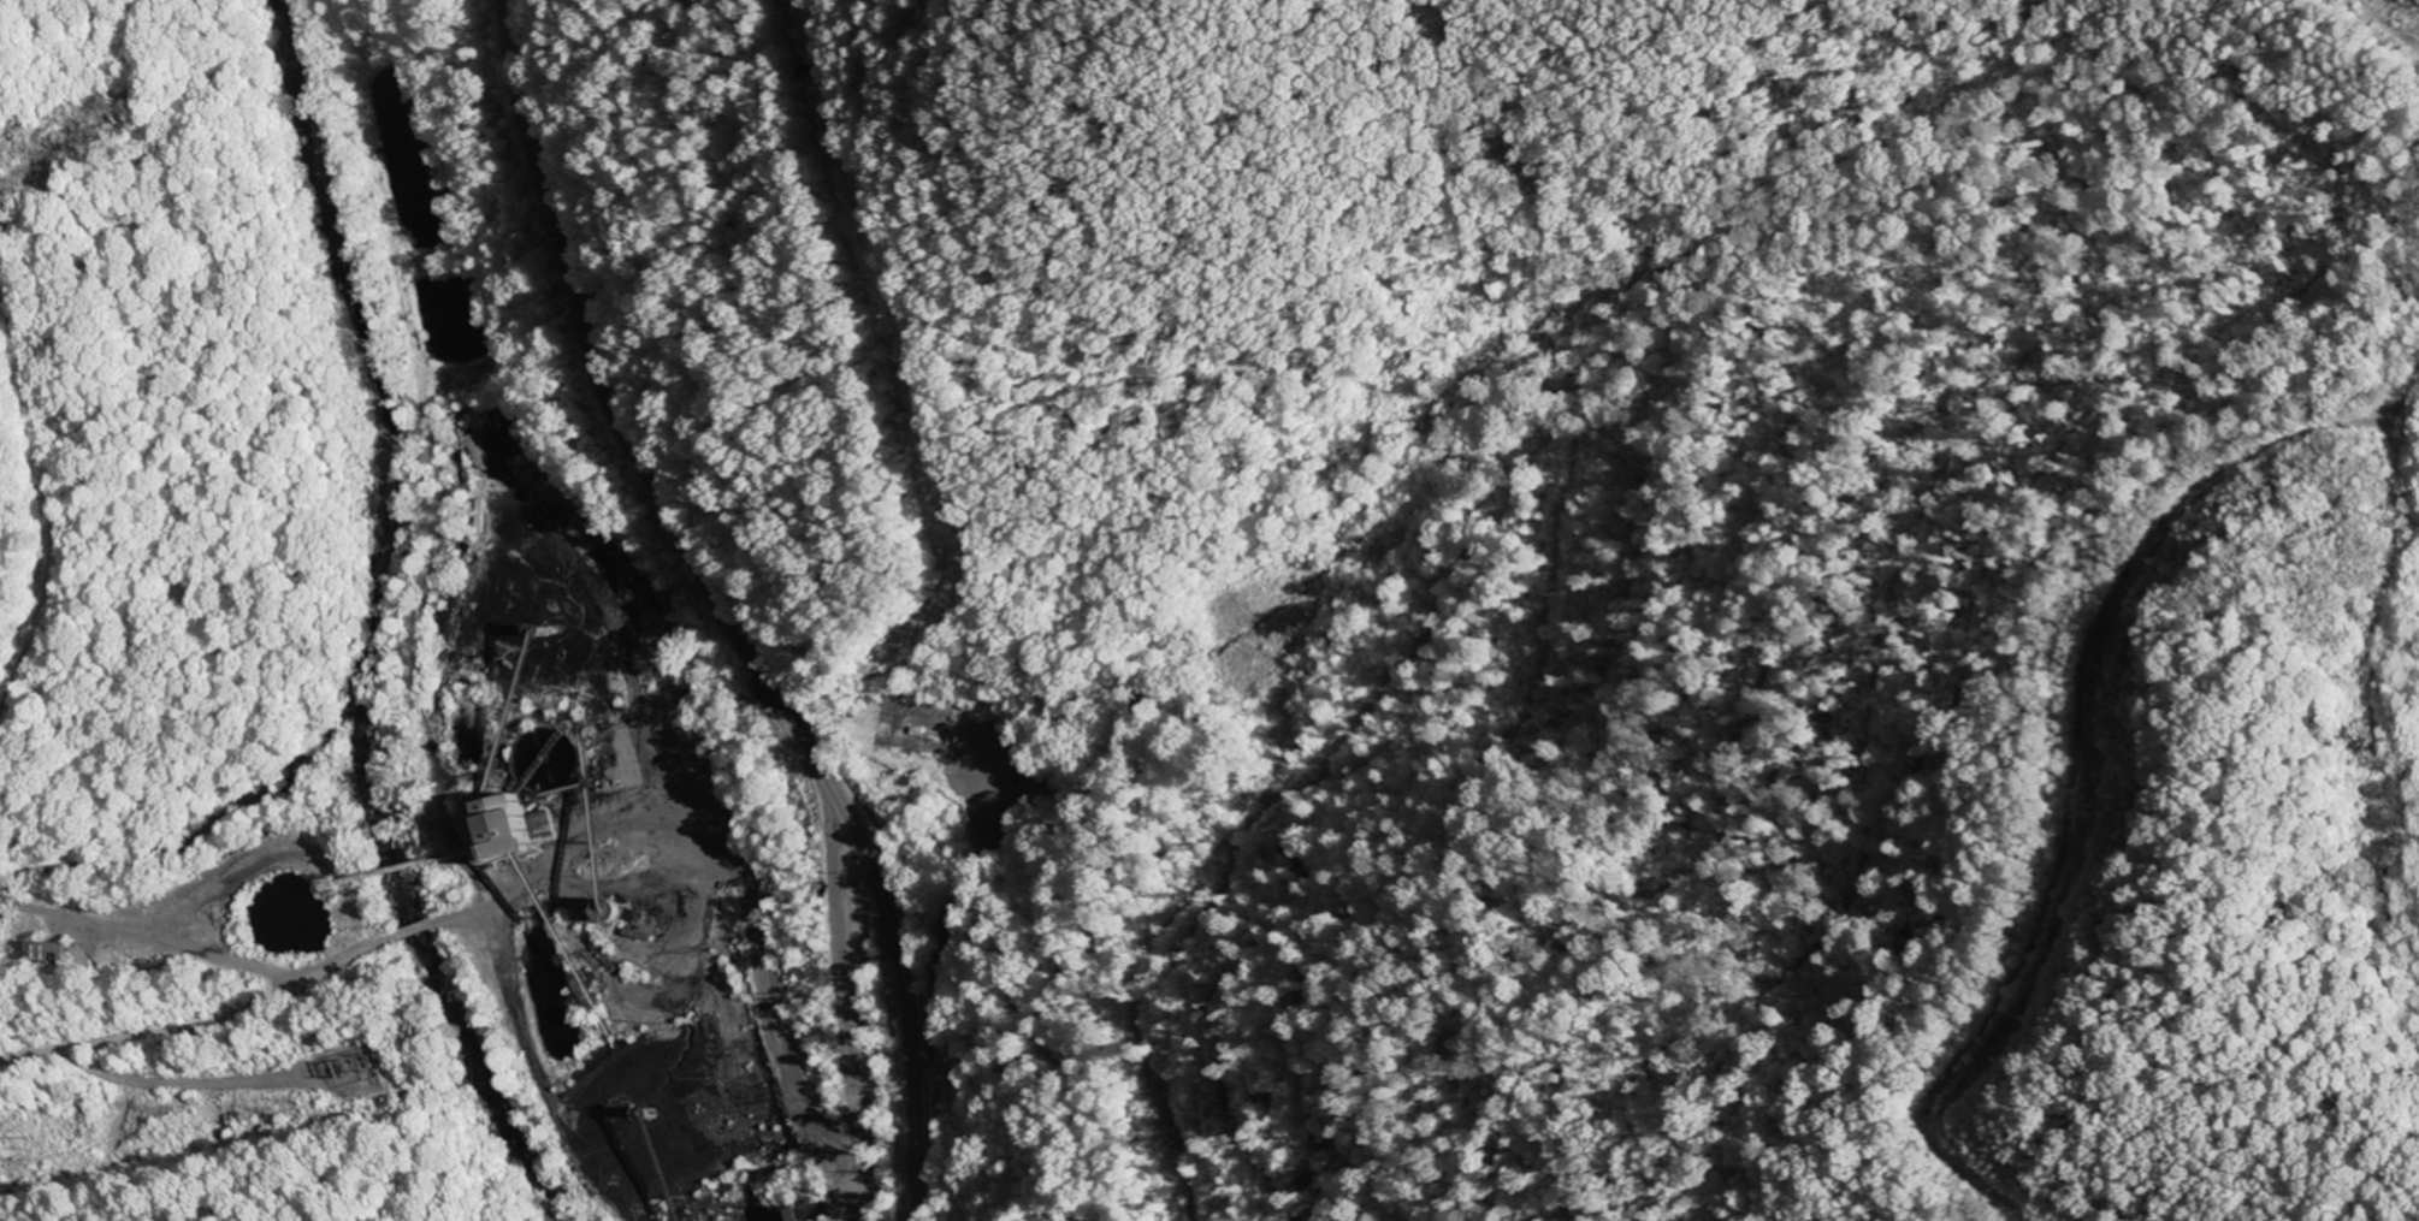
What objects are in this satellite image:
road: (732, 610)
building: (503, 828)
building: (52, 953)
road: (691, 971)
road: (239, 1006)
power substation: (360, 1068)
power tower: (345, 1073)
power tower: (24, 1148)

